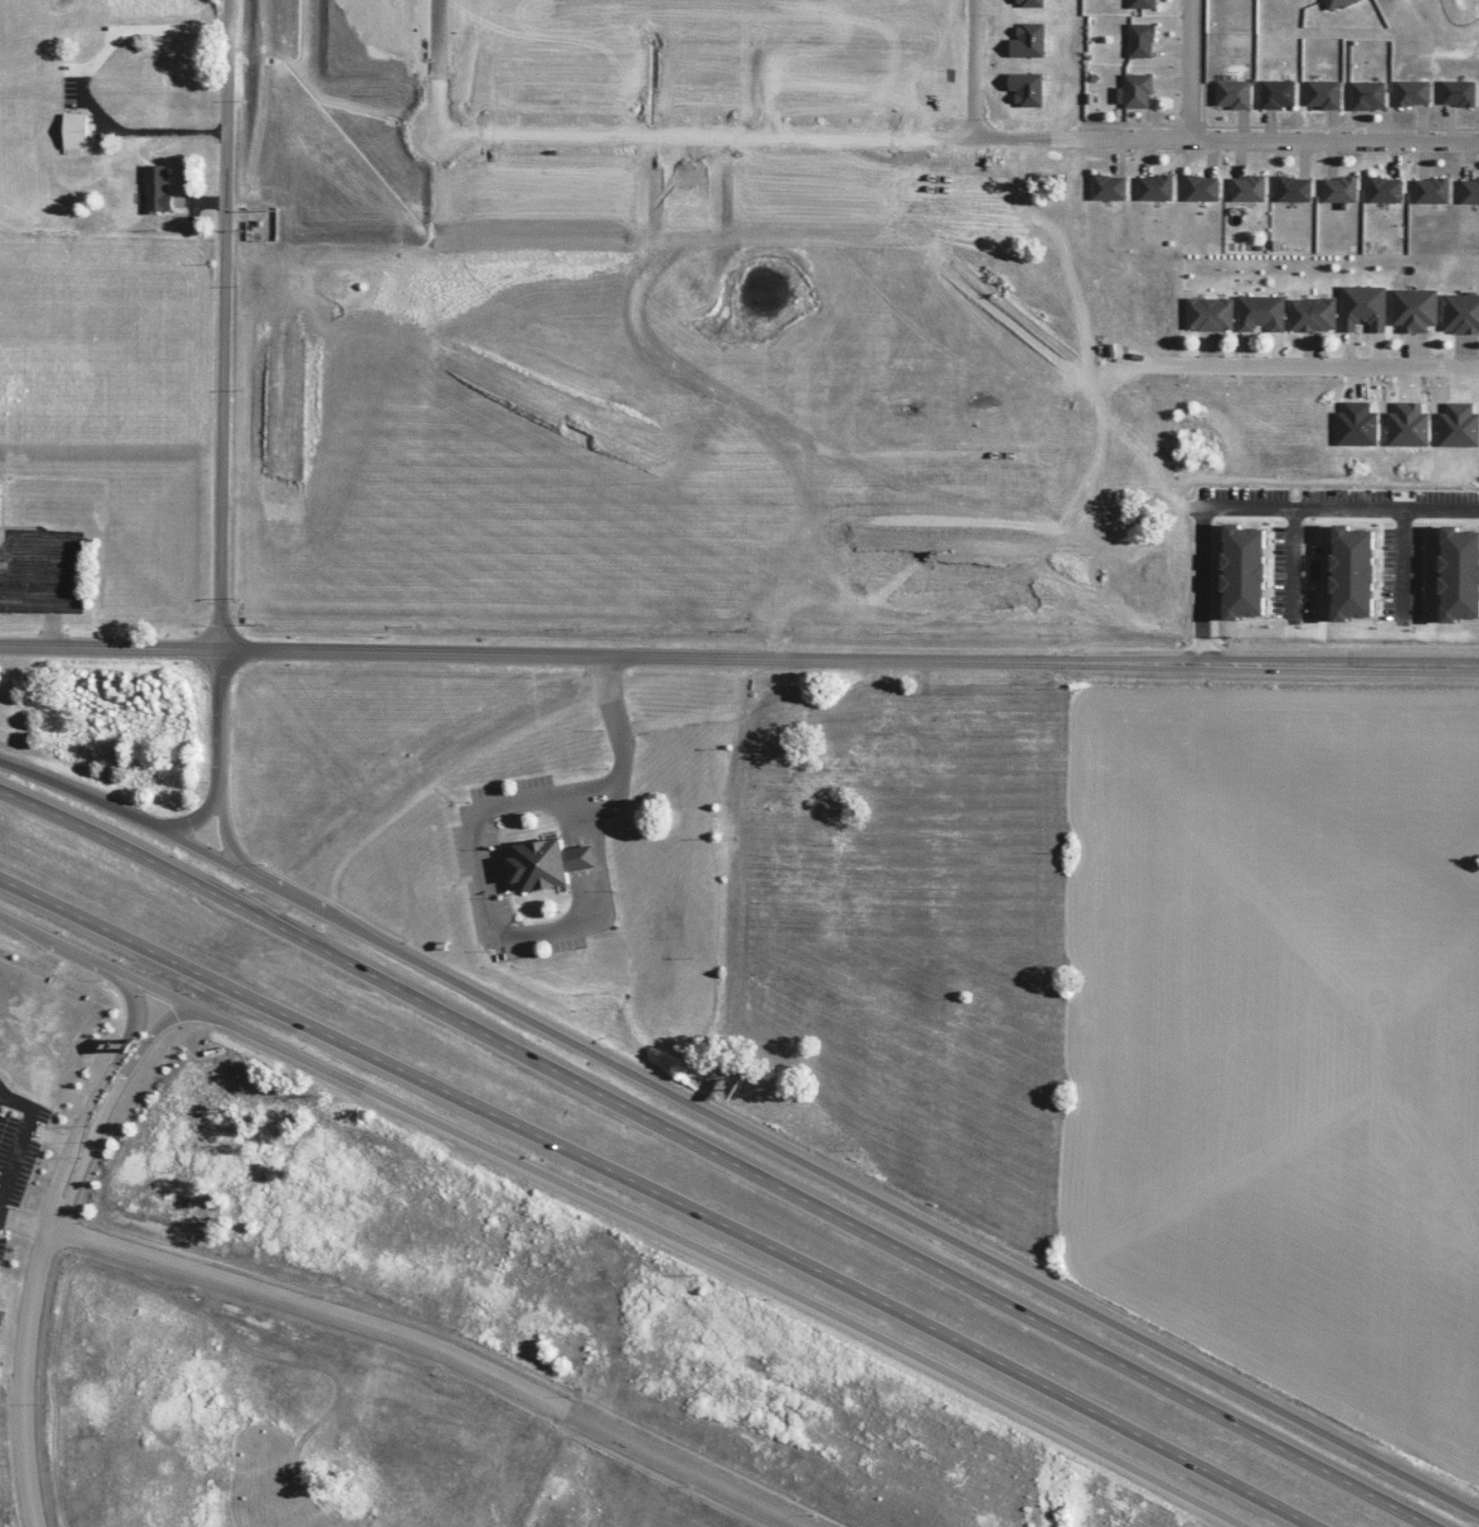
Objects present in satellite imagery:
building: (1336, 3)
building: (1140, 4)
building: (1140, 41)
road: (969, 67)
road: (1187, 69)
building: (1137, 91)
building: (1411, 94)
building: (1457, 94)
building: (1232, 95)
building: (1277, 95)
building: (1322, 96)
building: (1366, 96)
building: (74, 132)
road: (741, 133)
road: (1262, 139)
building: (1107, 188)
building: (1154, 188)
building: (1200, 188)
building: (156, 189)
building: (1247, 189)
building: (1292, 190)
building: (1338, 191)
building: (1383, 191)
building: (1430, 191)
building: (1468, 192)
building: (1413, 311)
building: (1260, 314)
building: (1460, 314)
building: (1209, 315)
building: (1312, 315)
road: (226, 324)
road: (1315, 365)
road: (1262, 503)
road: (1404, 555)
road: (1293, 557)
road: (111, 646)
road: (485, 652)
road: (1113, 662)
road: (606, 693)
road: (224, 737)
road: (96, 801)
road: (484, 807)
road: (211, 841)
road: (227, 849)
building: (547, 865)
road: (73, 956)
road: (154, 1014)
road: (177, 1023)
road: (32, 1131)
road: (721, 1152)
road: (13, 1160)
road: (835, 1181)
road: (663, 1191)
road: (29, 1223)
road: (700, 1250)
road: (47, 1272)
road: (441, 1353)

